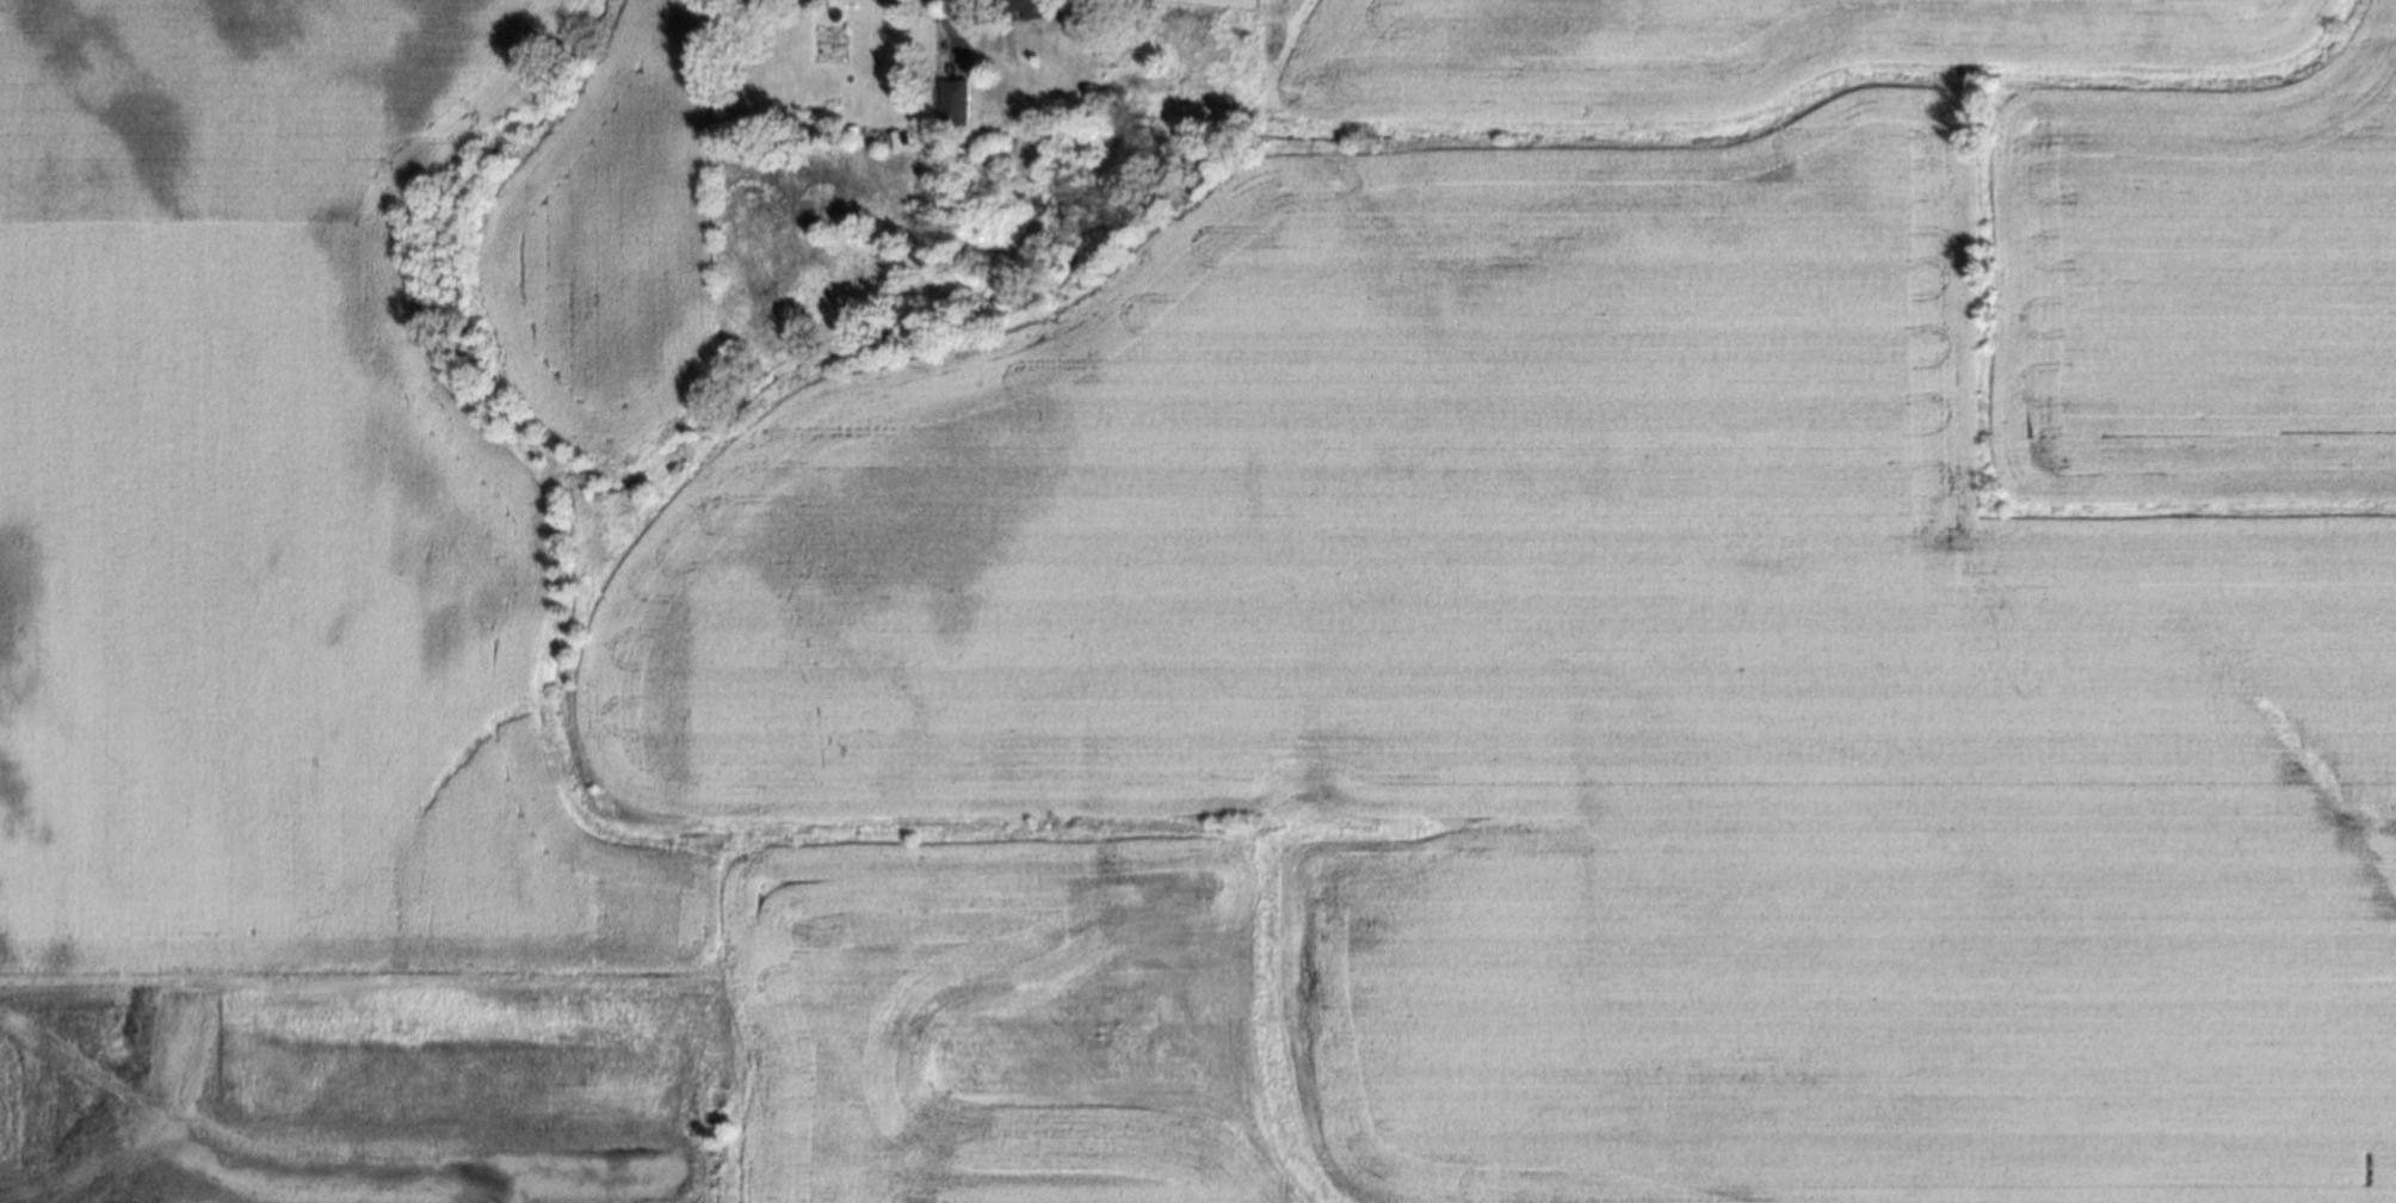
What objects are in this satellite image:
building: (1027, 8)
building: (955, 103)
road: (156, 1127)
road: (408, 1184)
road: (494, 1192)

